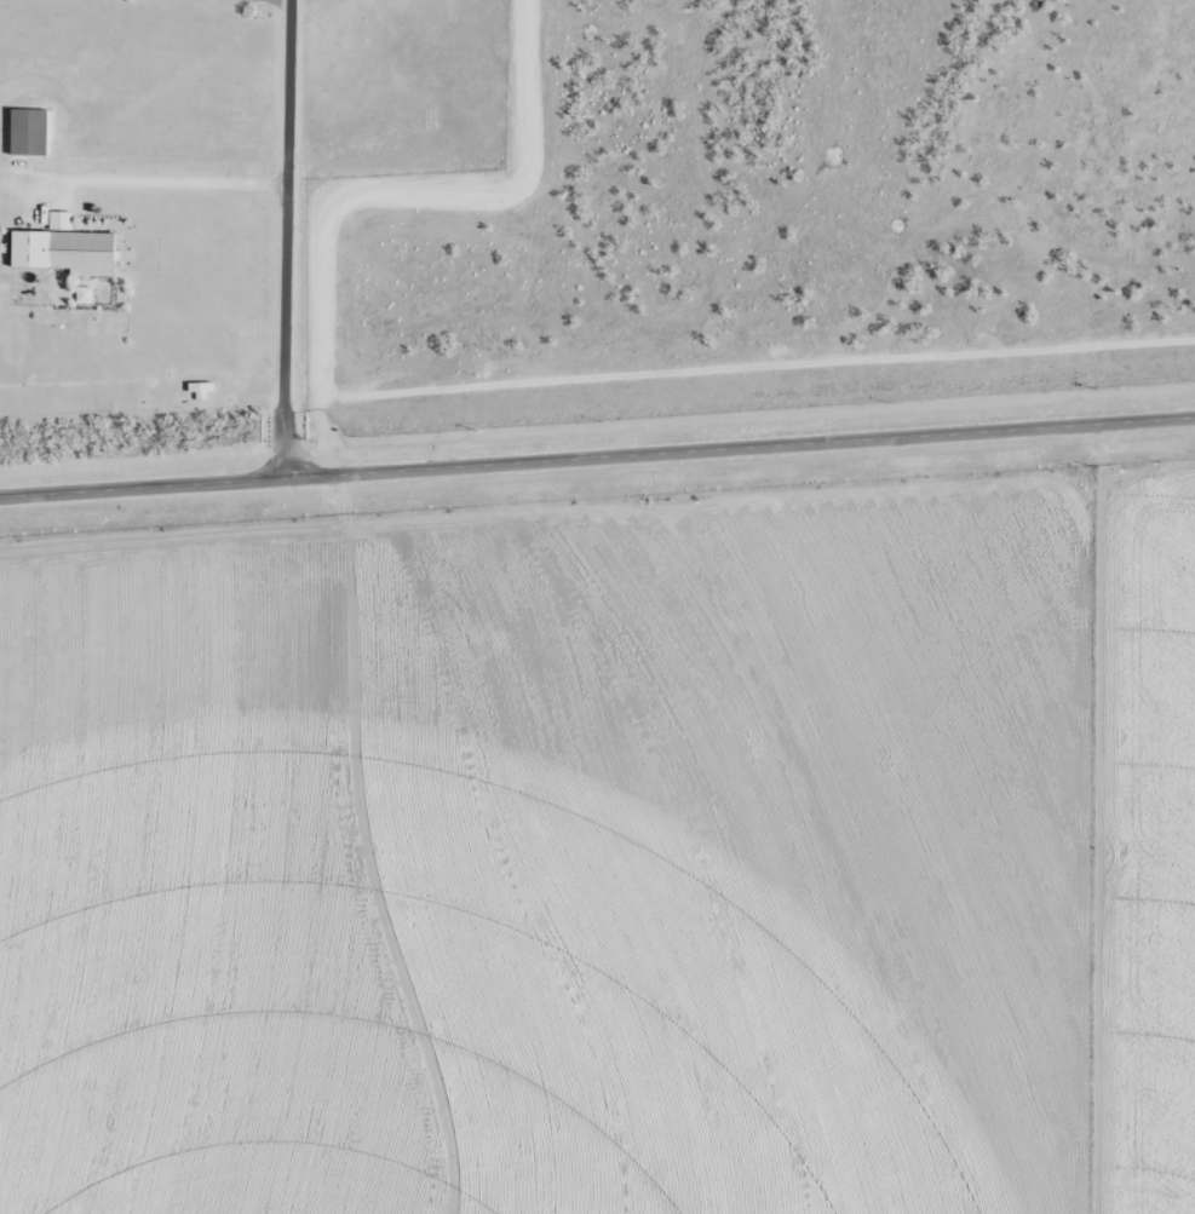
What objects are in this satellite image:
building: (28, 133)
airport: (205, 183)
road: (282, 240)
airport hangar: (67, 252)
building: (67, 252)
railway: (597, 427)
road: (597, 459)
road: (363, 848)

